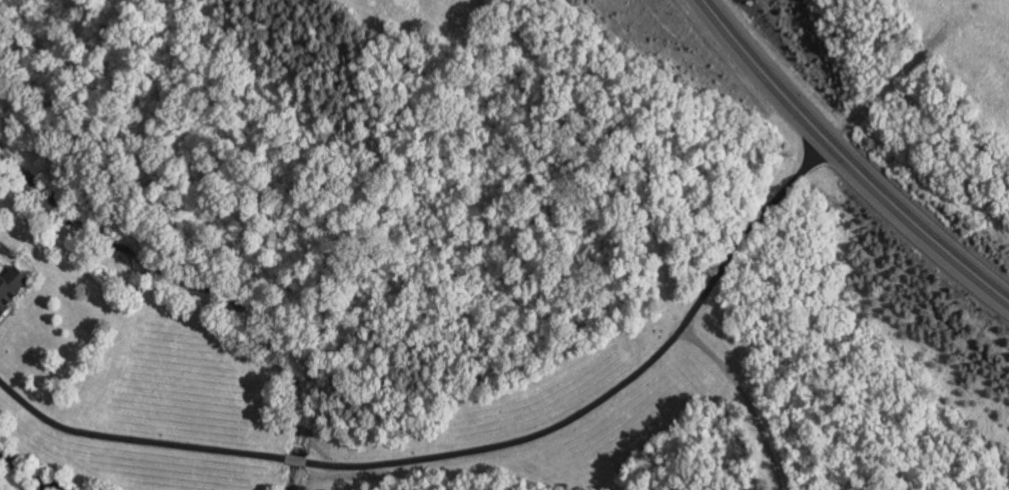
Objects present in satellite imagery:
road: (887, 84)
road: (845, 158)
building: (11, 284)
road: (9, 313)
road: (617, 386)
road: (746, 399)
road: (133, 440)
road: (296, 460)

